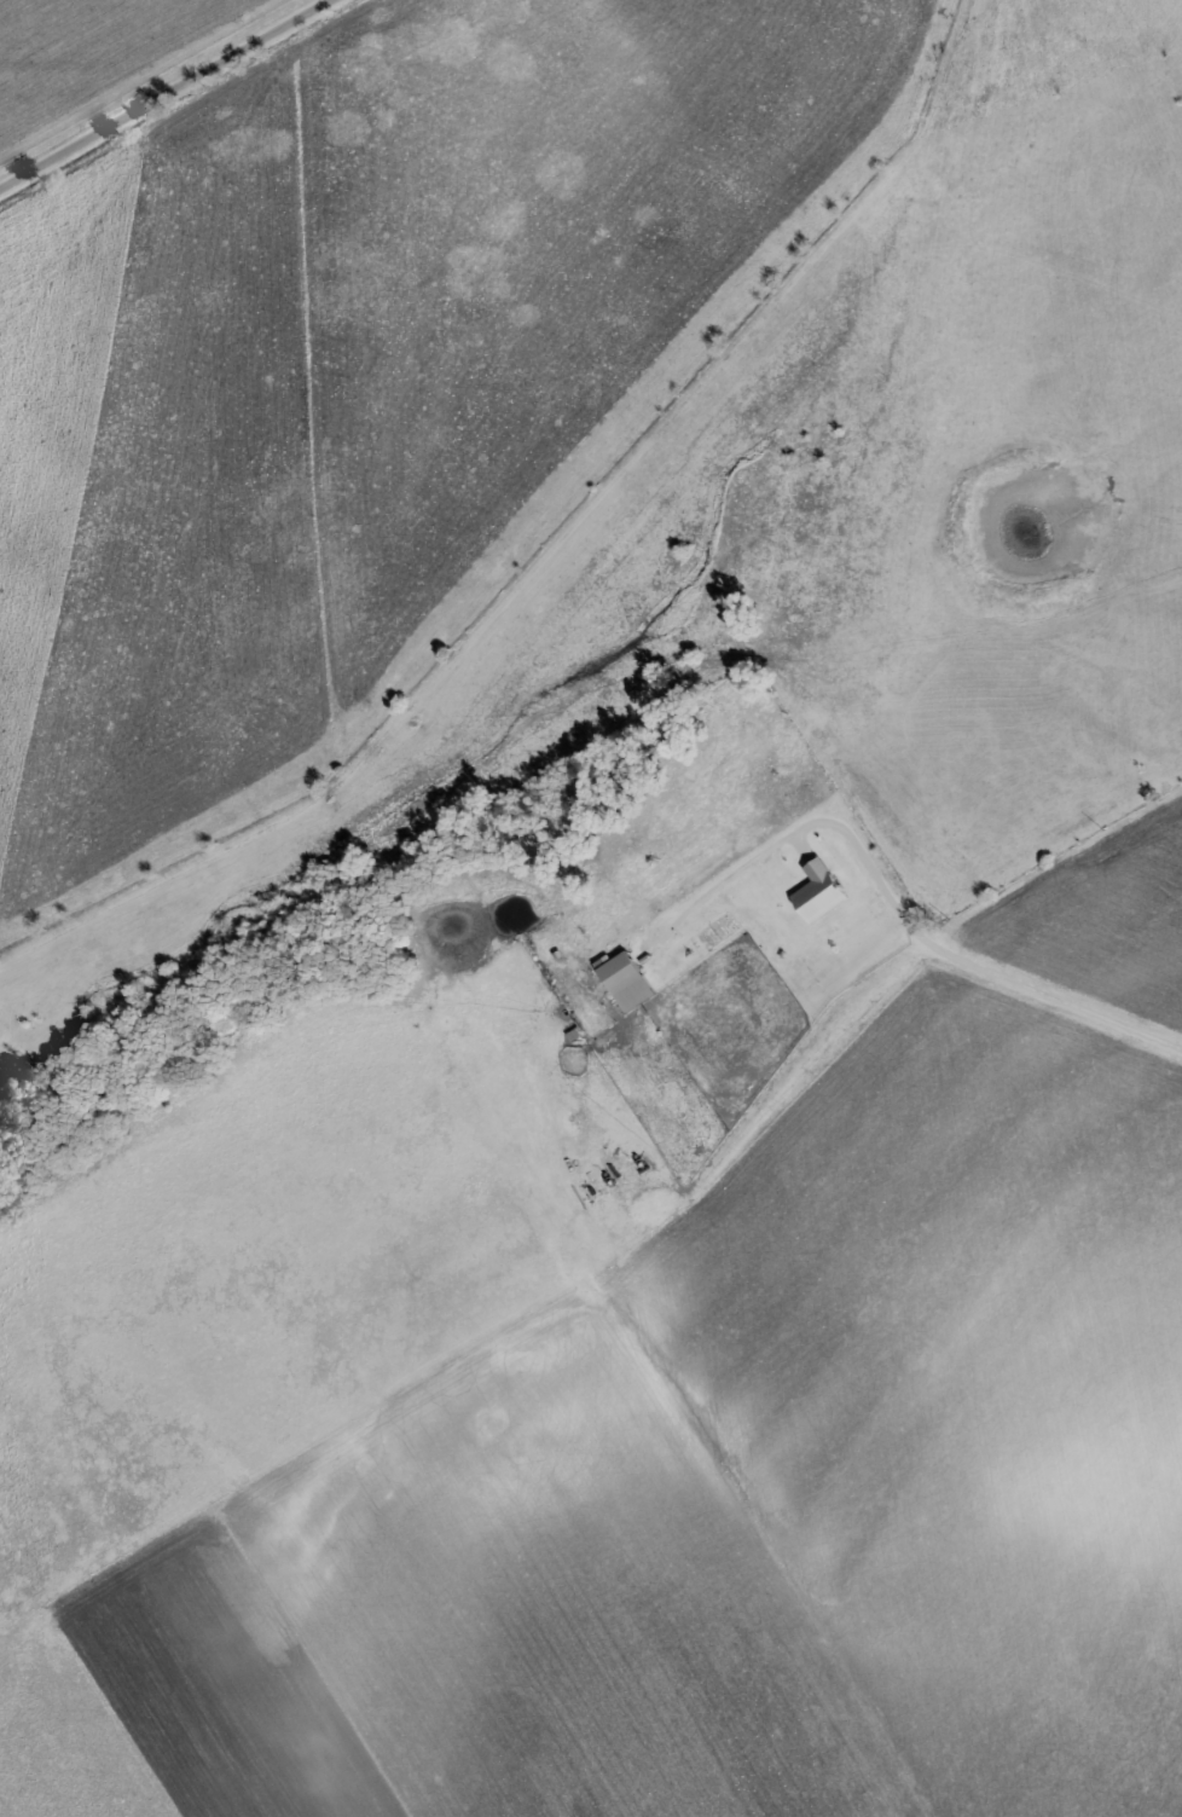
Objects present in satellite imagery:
road: (161, 92)
building: (829, 890)
road: (897, 912)
building: (635, 980)

